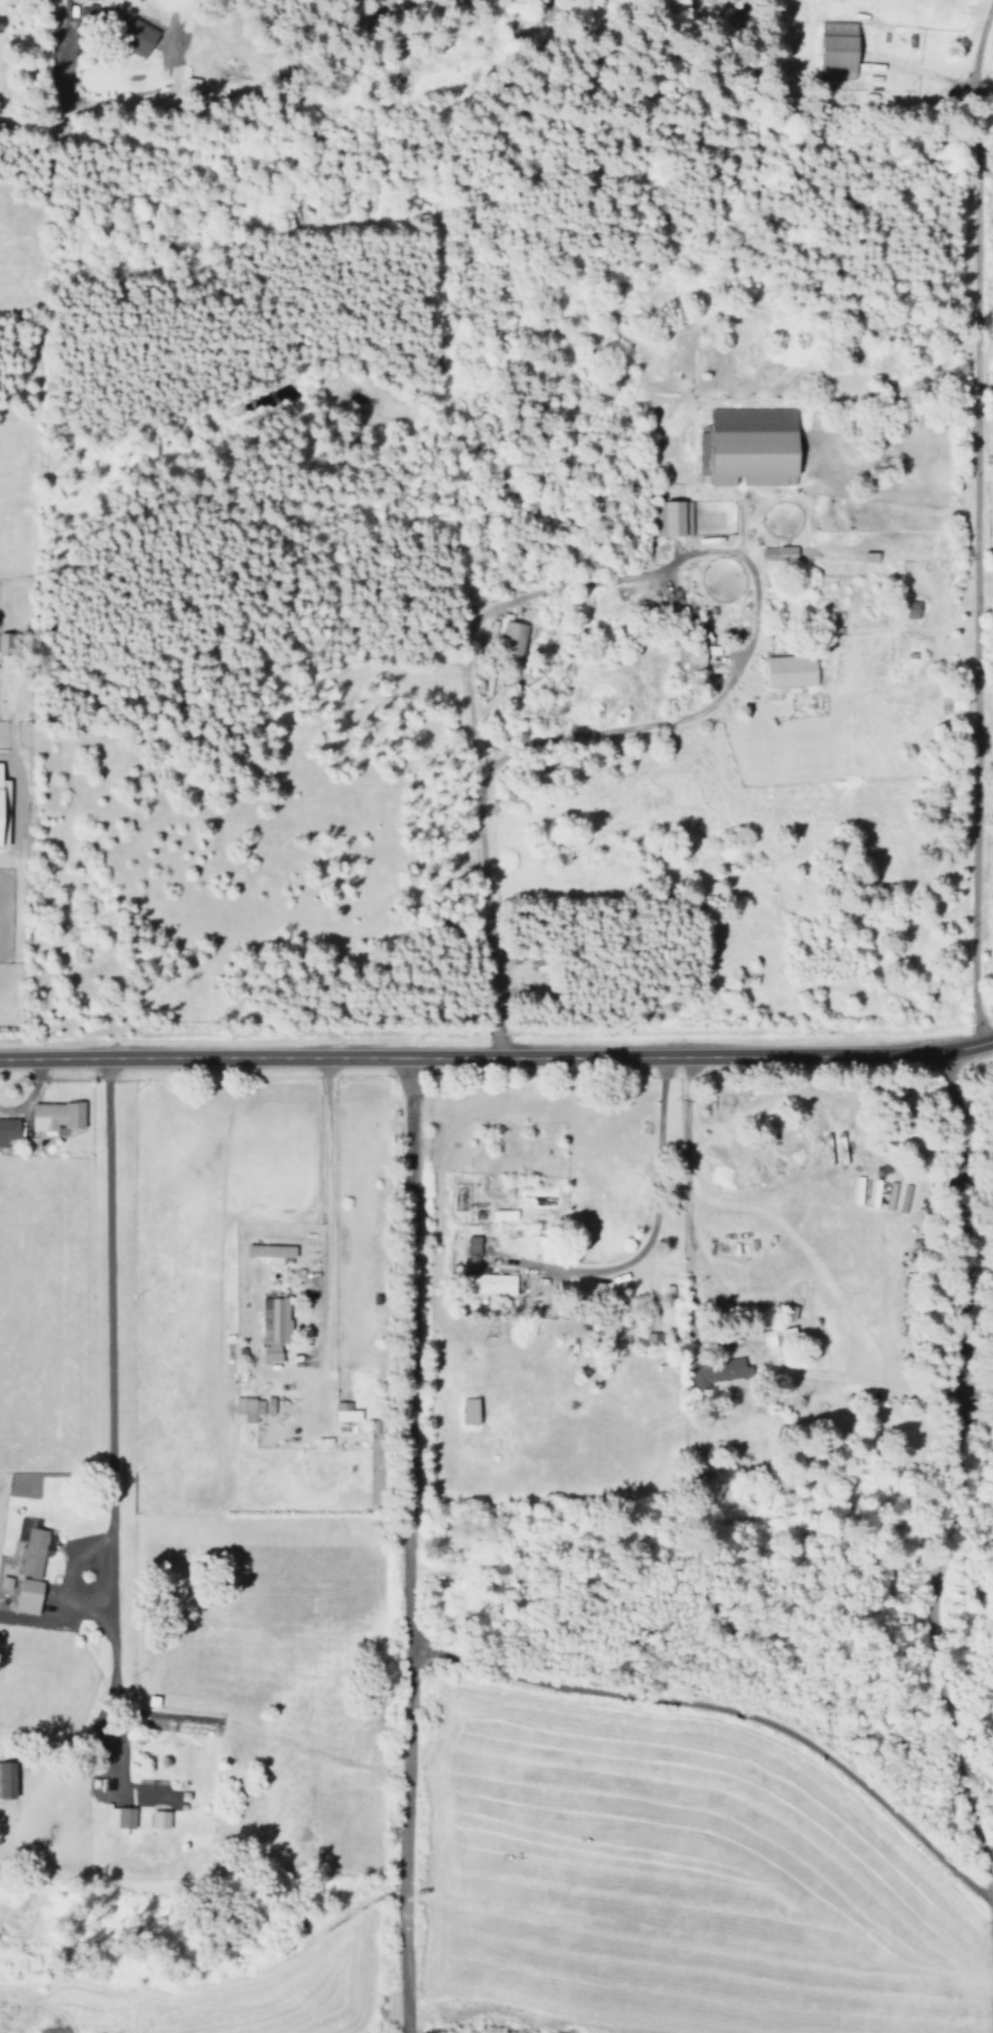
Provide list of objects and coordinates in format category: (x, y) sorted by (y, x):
building: (105, 10)
building: (140, 37)
building: (837, 49)
building: (191, 85)
road: (57, 86)
building: (751, 446)
building: (672, 517)
road: (968, 520)
building: (781, 553)
building: (512, 639)
building: (8, 643)
building: (692, 657)
building: (792, 670)
building: (482, 684)
building: (3, 808)
road: (497, 1057)
building: (57, 1115)
building: (9, 1130)
building: (882, 1193)
road: (645, 1239)
building: (473, 1251)
building: (271, 1252)
building: (492, 1283)
building: (275, 1327)
building: (654, 1338)
building: (718, 1371)
road: (982, 1389)
building: (270, 1405)
building: (247, 1409)
building: (471, 1411)
building: (346, 1412)
road: (107, 1422)
road: (945, 1506)
road: (406, 1546)
road: (667, 1546)
building: (31, 1547)
building: (6, 1581)
building: (29, 1595)
road: (733, 1710)
building: (8, 1779)
building: (160, 1819)
building: (118, 1820)
crop: (670, 1885)
crop: (220, 1993)

